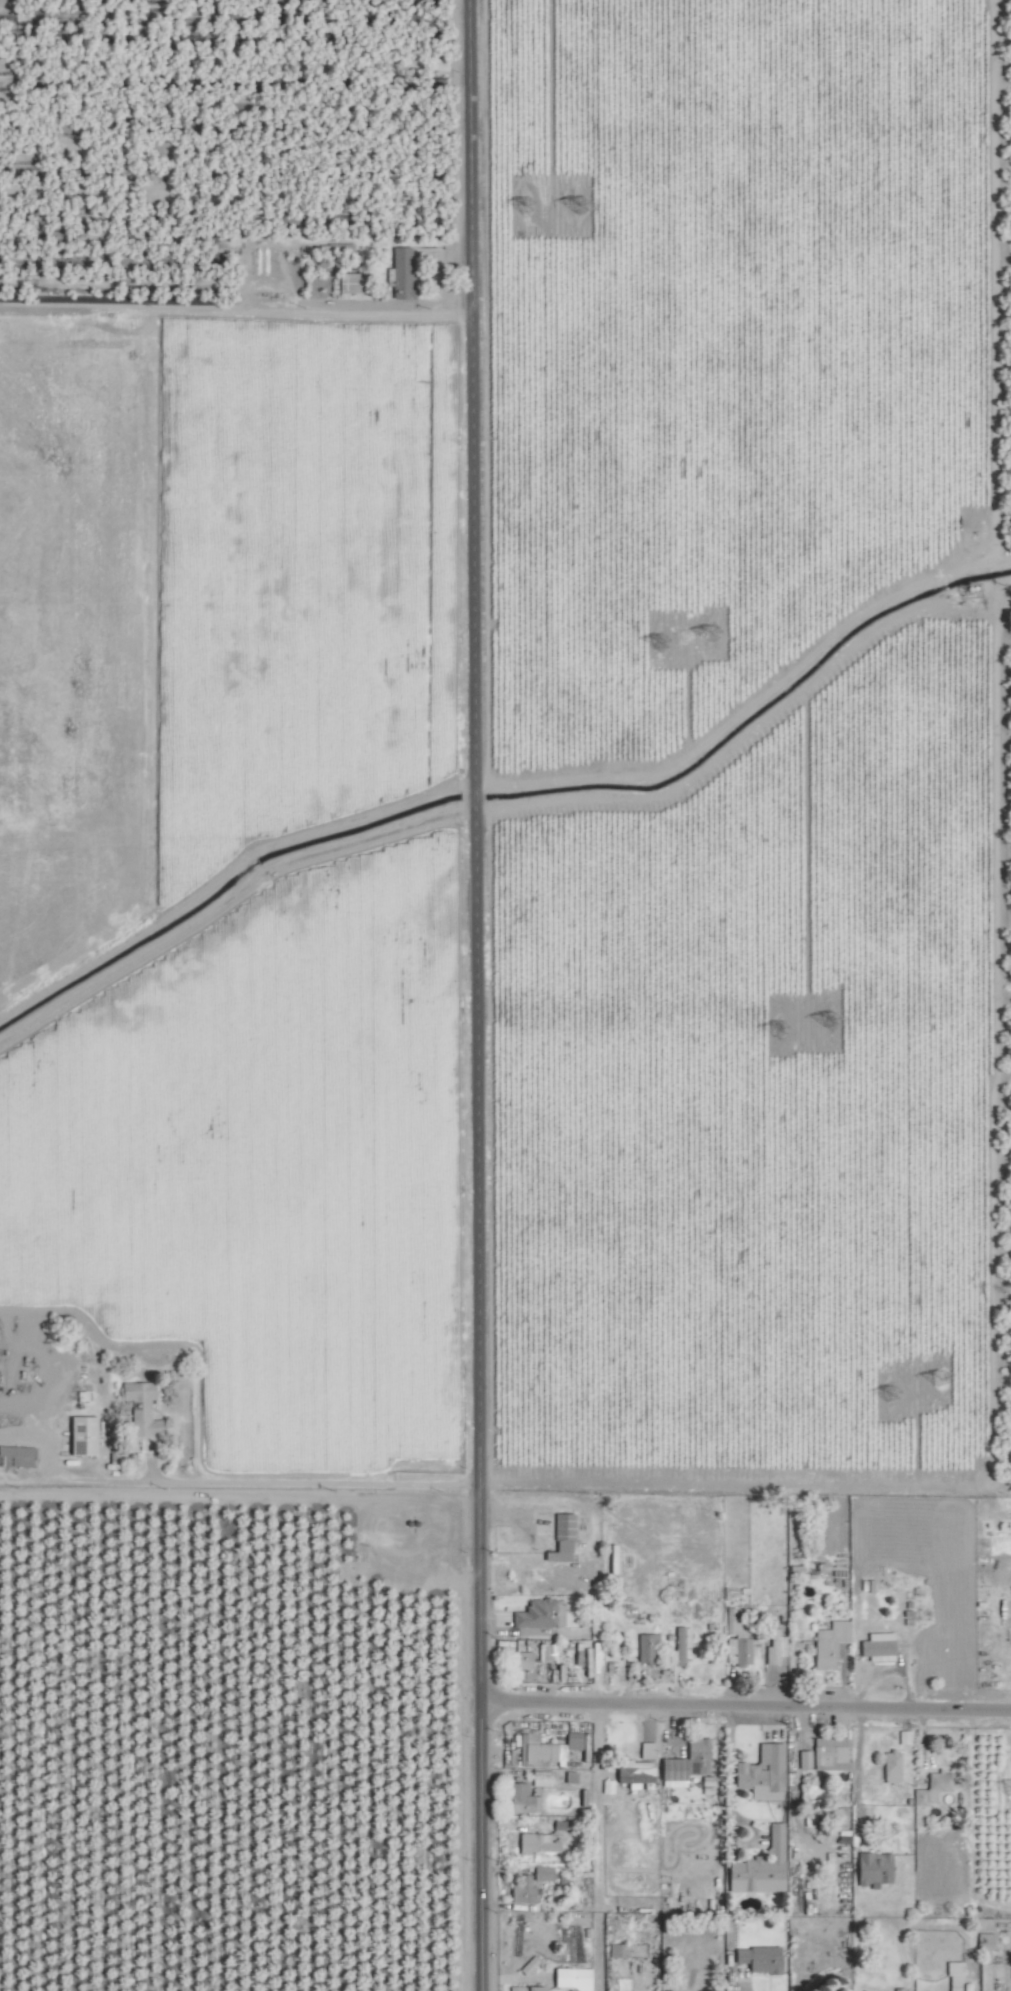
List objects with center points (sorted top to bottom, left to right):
road: (468, 101)
power tower: (582, 205)
power tower: (529, 208)
road: (282, 268)
building: (405, 273)
building: (350, 284)
power tower: (707, 633)
power tower: (663, 642)
road: (473, 824)
crop: (505, 995)
power tower: (831, 1018)
power tower: (787, 1027)
crop: (232, 1153)
power tower: (943, 1379)
power tower: (896, 1394)
building: (144, 1407)
building: (86, 1435)
building: (18, 1456)
road: (305, 1483)
building: (559, 1539)
road: (477, 1573)
building: (538, 1615)
building: (736, 1638)
building: (826, 1645)
building: (677, 1647)
building: (773, 1648)
building: (875, 1648)
building: (644, 1649)
building: (546, 1653)
building: (520, 1661)
road: (744, 1704)
building: (550, 1749)
building: (643, 1750)
building: (827, 1754)
building: (695, 1756)
building: (802, 1759)
building: (889, 1767)
road: (856, 1771)
building: (669, 1773)
building: (759, 1773)
building: (631, 1775)
building: (540, 1778)
building: (930, 1788)
building: (518, 1799)
road: (730, 1800)
building: (534, 1843)
road: (478, 1846)
road: (597, 1846)
building: (757, 1868)
building: (871, 1869)
building: (541, 1872)
building: (521, 1890)
building: (982, 1942)
building: (756, 1959)
building: (952, 1977)
building: (569, 1979)
road: (731, 1980)
building: (528, 1988)
building: (896, 1989)
building: (861, 1990)

